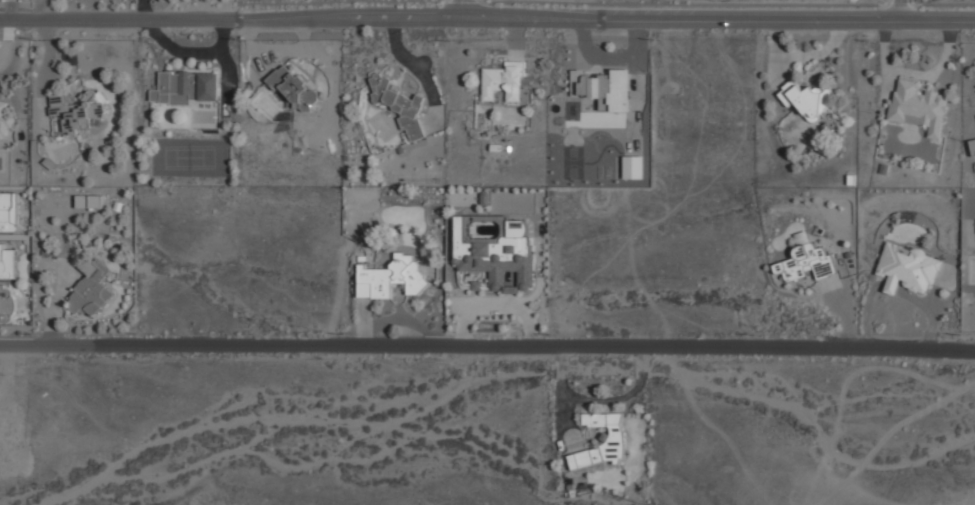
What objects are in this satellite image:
road: (901, 7)
road: (462, 9)
road: (487, 17)
road: (43, 73)
building: (505, 82)
building: (186, 87)
building: (602, 87)
building: (293, 88)
building: (807, 98)
building: (399, 106)
building: (917, 107)
building: (78, 110)
building: (4, 121)
building: (972, 147)
park: (189, 157)
building: (88, 201)
building: (9, 211)
building: (496, 257)
building: (806, 260)
building: (7, 262)
building: (907, 268)
building: (391, 277)
building: (90, 289)
building: (6, 302)
road: (487, 345)
building: (602, 439)

